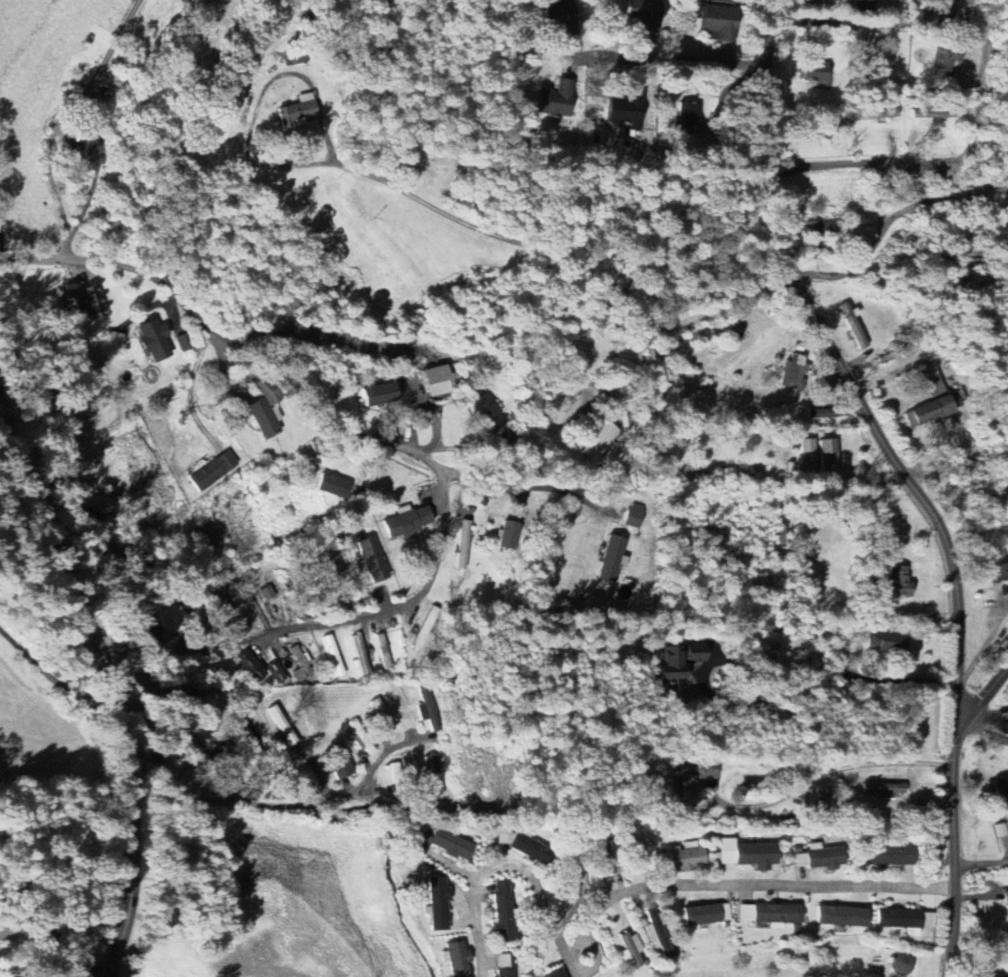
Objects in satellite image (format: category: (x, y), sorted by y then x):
building: (866, 4)
building: (646, 13)
building: (721, 21)
road: (844, 24)
building: (567, 25)
road: (984, 42)
building: (946, 58)
road: (663, 61)
building: (816, 71)
building: (557, 99)
building: (627, 108)
building: (299, 112)
building: (936, 112)
building: (878, 113)
building: (687, 118)
road: (59, 119)
road: (975, 136)
road: (866, 160)
road: (890, 217)
building: (822, 230)
road: (545, 250)
building: (85, 304)
building: (153, 340)
building: (185, 342)
building: (794, 372)
building: (437, 380)
building: (932, 380)
road: (191, 384)
building: (378, 394)
building: (489, 409)
building: (929, 410)
building: (825, 412)
building: (601, 441)
building: (808, 445)
building: (829, 454)
road: (425, 456)
road: (517, 462)
building: (214, 470)
road: (906, 479)
road: (527, 485)
building: (334, 486)
building: (635, 515)
building: (408, 521)
building: (509, 534)
building: (465, 536)
building: (612, 557)
building: (372, 559)
building: (332, 563)
building: (1000, 571)
building: (899, 580)
building: (219, 601)
building: (150, 630)
road: (988, 640)
building: (889, 641)
building: (696, 650)
building: (384, 651)
building: (361, 654)
building: (334, 655)
building: (301, 663)
building: (250, 666)
building: (672, 666)
building: (276, 672)
road: (63, 679)
road: (785, 692)
road: (985, 697)
road: (120, 699)
building: (429, 709)
building: (383, 715)
building: (224, 751)
building: (339, 761)
building: (428, 769)
road: (839, 769)
building: (694, 772)
building: (885, 789)
building: (1002, 793)
building: (818, 801)
road: (255, 802)
building: (444, 844)
building: (524, 845)
building: (637, 847)
building: (744, 856)
building: (890, 856)
building: (683, 857)
building: (820, 858)
road: (982, 863)
road: (501, 864)
road: (734, 884)
building: (860, 899)
building: (438, 904)
building: (504, 911)
building: (707, 914)
building: (770, 914)
building: (842, 916)
building: (900, 919)
building: (928, 920)
building: (658, 932)
building: (631, 949)
building: (458, 959)
building: (506, 965)
building: (558, 974)

